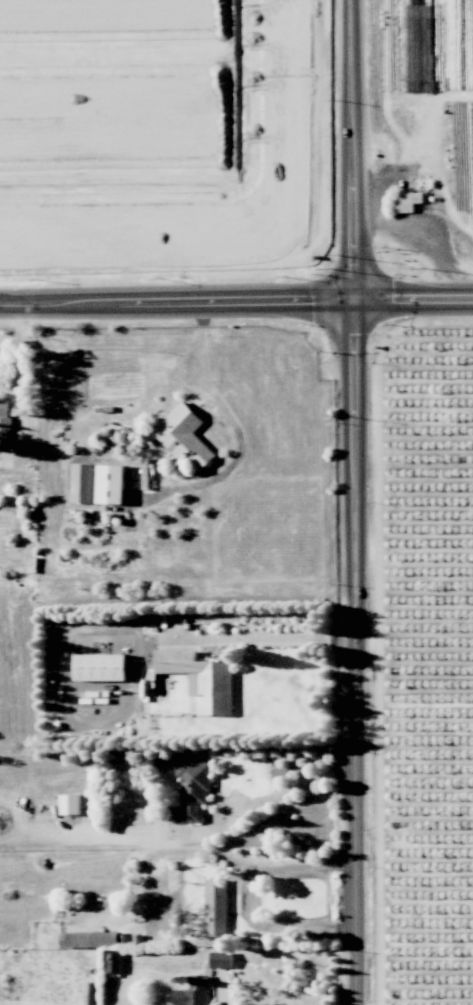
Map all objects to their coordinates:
road: (349, 151)
building: (407, 201)
road: (412, 301)
road: (175, 302)
building: (4, 420)
road: (236, 427)
building: (183, 436)
building: (81, 483)
building: (110, 484)
road: (271, 637)
road: (355, 653)
building: (100, 667)
building: (201, 679)
road: (297, 786)
building: (192, 791)
building: (69, 804)
road: (296, 867)
building: (216, 906)
building: (89, 939)
building: (221, 959)
building: (113, 962)
building: (193, 992)

